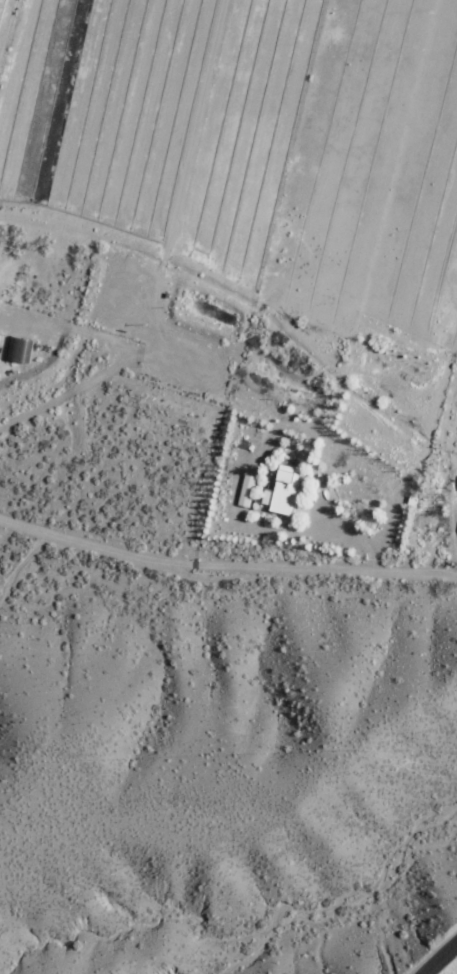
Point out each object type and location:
building: (246, 490)
building: (284, 491)
road: (225, 568)
road: (440, 959)

